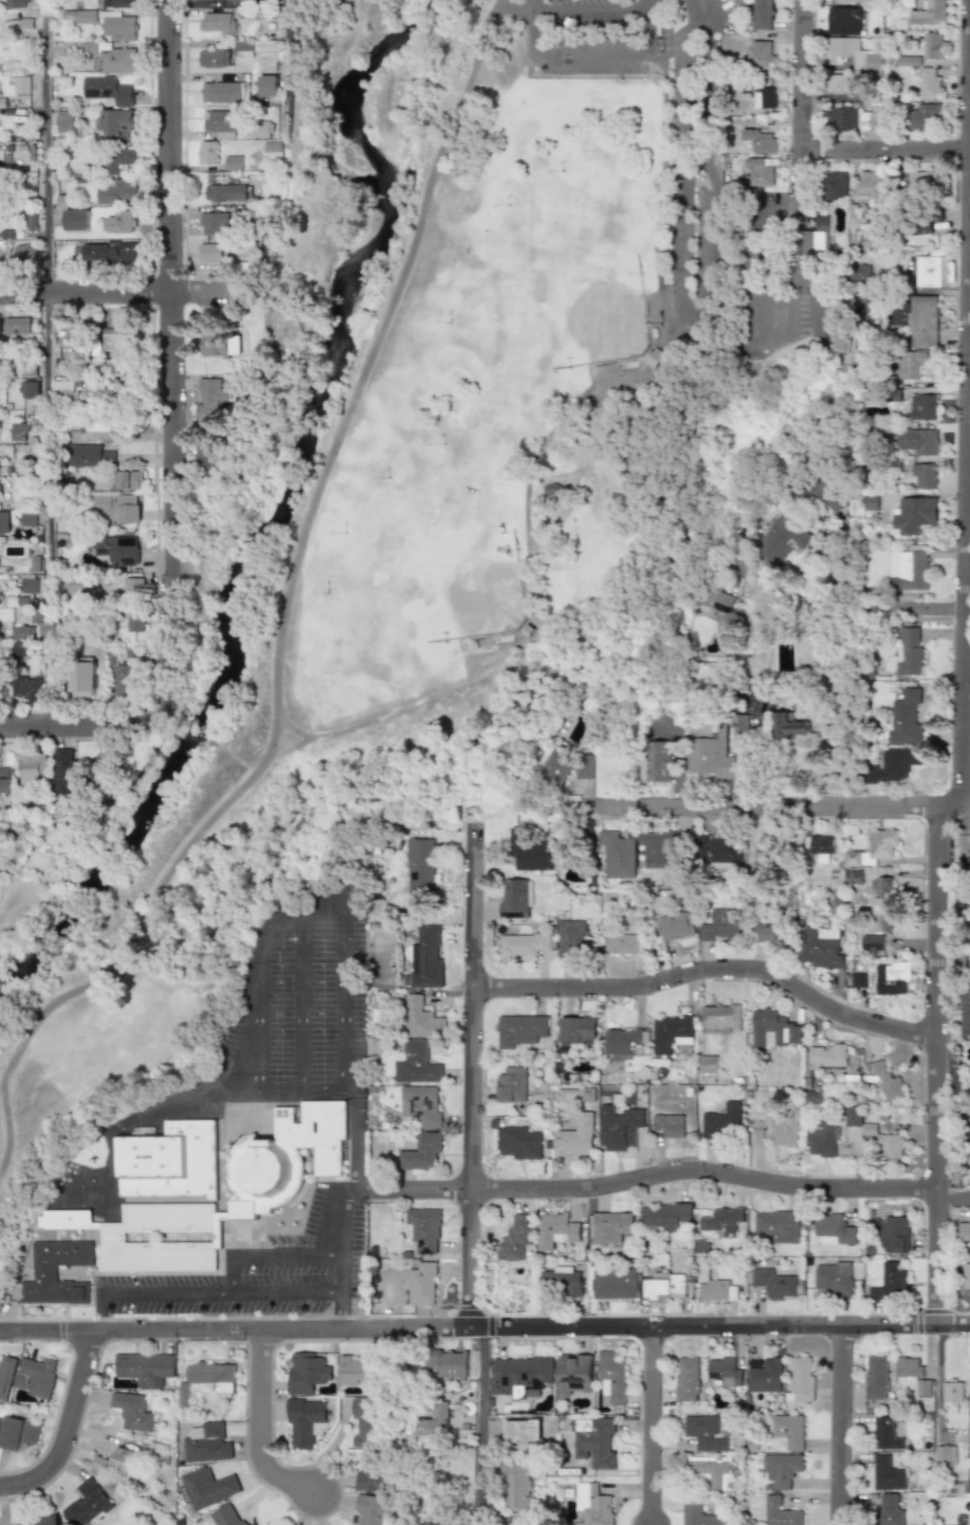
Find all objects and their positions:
building: (14, 4)
building: (119, 4)
road: (695, 8)
road: (569, 12)
building: (928, 13)
building: (761, 15)
building: (79, 17)
building: (843, 21)
building: (219, 24)
building: (118, 27)
parking lot: (594, 36)
building: (933, 46)
building: (245, 49)
building: (840, 50)
building: (761, 53)
building: (217, 55)
road: (588, 55)
building: (118, 60)
building: (872, 61)
building: (838, 83)
building: (931, 84)
building: (21, 85)
building: (271, 85)
road: (294, 85)
building: (108, 90)
building: (227, 92)
building: (763, 98)
road: (802, 104)
building: (924, 116)
building: (851, 118)
building: (65, 121)
building: (223, 123)
building: (117, 124)
building: (265, 130)
building: (760, 140)
road: (886, 151)
building: (210, 153)
building: (123, 159)
building: (237, 163)
building: (761, 172)
building: (923, 180)
building: (872, 184)
building: (835, 185)
building: (116, 191)
building: (227, 192)
building: (31, 219)
building: (76, 220)
building: (822, 221)
building: (919, 221)
building: (118, 222)
building: (216, 223)
building: (25, 252)
building: (107, 252)
building: (213, 252)
building: (777, 259)
building: (926, 271)
building: (859, 273)
building: (814, 277)
road: (116, 293)
road: (690, 311)
building: (923, 321)
building: (16, 326)
building: (70, 337)
building: (119, 338)
building: (844, 342)
building: (221, 344)
building: (654, 358)
road: (172, 361)
road: (45, 363)
building: (911, 363)
building: (27, 369)
building: (63, 369)
building: (129, 382)
building: (29, 390)
building: (67, 390)
building: (212, 397)
building: (922, 407)
building: (102, 423)
building: (17, 432)
park: (464, 432)
building: (918, 442)
building: (90, 455)
building: (204, 457)
building: (924, 475)
building: (129, 480)
building: (0, 487)
building: (826, 494)
building: (871, 502)
building: (118, 508)
building: (914, 515)
river: (273, 516)
building: (28, 517)
building: (4, 524)
road: (965, 527)
building: (783, 540)
building: (116, 550)
building: (909, 571)
building: (30, 586)
building: (80, 586)
building: (133, 587)
road: (879, 606)
road: (282, 615)
building: (133, 623)
building: (21, 630)
building: (17, 649)
building: (911, 652)
building: (81, 678)
building: (122, 681)
building: (26, 688)
building: (909, 719)
building: (794, 725)
road: (80, 726)
building: (747, 727)
road: (959, 741)
building: (715, 753)
building: (665, 762)
building: (897, 766)
building: (560, 767)
building: (31, 769)
building: (587, 769)
building: (67, 771)
building: (6, 781)
road: (773, 800)
building: (886, 844)
building: (665, 846)
building: (826, 848)
building: (531, 851)
building: (722, 852)
building: (621, 856)
building: (855, 859)
building: (871, 860)
building: (420, 865)
building: (858, 877)
building: (515, 898)
building: (886, 905)
building: (676, 925)
building: (724, 925)
building: (773, 933)
building: (572, 937)
building: (876, 943)
building: (522, 944)
building: (626, 944)
building: (824, 948)
building: (427, 957)
road: (711, 968)
building: (895, 979)
building: (861, 981)
road: (299, 999)
building: (966, 1013)
building: (723, 1016)
building: (418, 1017)
building: (576, 1029)
building: (776, 1029)
building: (520, 1031)
building: (672, 1032)
road: (257, 1035)
building: (624, 1043)
building: (831, 1055)
building: (417, 1063)
building: (710, 1064)
road: (471, 1076)
building: (889, 1081)
building: (513, 1084)
building: (815, 1096)
building: (422, 1104)
building: (723, 1119)
building: (670, 1125)
building: (622, 1127)
building: (787, 1131)
building: (874, 1133)
building: (578, 1137)
building: (758, 1137)
building: (825, 1139)
building: (521, 1142)
building: (422, 1152)
building: (284, 1156)
building: (174, 1159)
road: (701, 1171)
road: (413, 1185)
road: (952, 1196)
building: (665, 1216)
building: (722, 1219)
building: (777, 1225)
building: (560, 1227)
building: (614, 1228)
building: (423, 1230)
building: (834, 1230)
building: (964, 1230)
building: (893, 1234)
building: (118, 1237)
building: (516, 1240)
road: (266, 1256)
building: (48, 1272)
building: (967, 1275)
building: (832, 1280)
building: (562, 1281)
building: (615, 1283)
building: (887, 1283)
building: (421, 1284)
building: (773, 1284)
building: (663, 1286)
building: (714, 1288)
road: (201, 1294)
road: (339, 1311)
road: (484, 1328)
building: (447, 1365)
building: (146, 1368)
building: (357, 1369)
building: (306, 1371)
building: (724, 1371)
building: (521, 1374)
building: (573, 1374)
building: (912, 1374)
building: (765, 1375)
building: (37, 1376)
building: (6, 1377)
building: (209, 1377)
building: (876, 1377)
building: (612, 1379)
building: (687, 1379)
building: (801, 1379)
road: (937, 1379)
building: (969, 1382)
building: (952, 1396)
building: (132, 1411)
road: (480, 1415)
building: (434, 1421)
building: (304, 1422)
building: (366, 1422)
road: (841, 1425)
road: (651, 1426)
road: (260, 1428)
road: (69, 1429)
building: (520, 1430)
building: (789, 1431)
building: (703, 1433)
building: (886, 1433)
building: (18, 1434)
building: (595, 1441)
building: (207, 1443)
building: (944, 1456)
building: (116, 1461)
building: (782, 1469)
building: (710, 1471)
building: (887, 1472)
building: (371, 1475)
building: (517, 1485)
building: (207, 1488)
building: (88, 1503)
building: (593, 1505)
building: (375, 1509)
building: (889, 1509)
building: (697, 1512)
building: (782, 1512)
building: (227, 1517)
building: (46, 1521)

